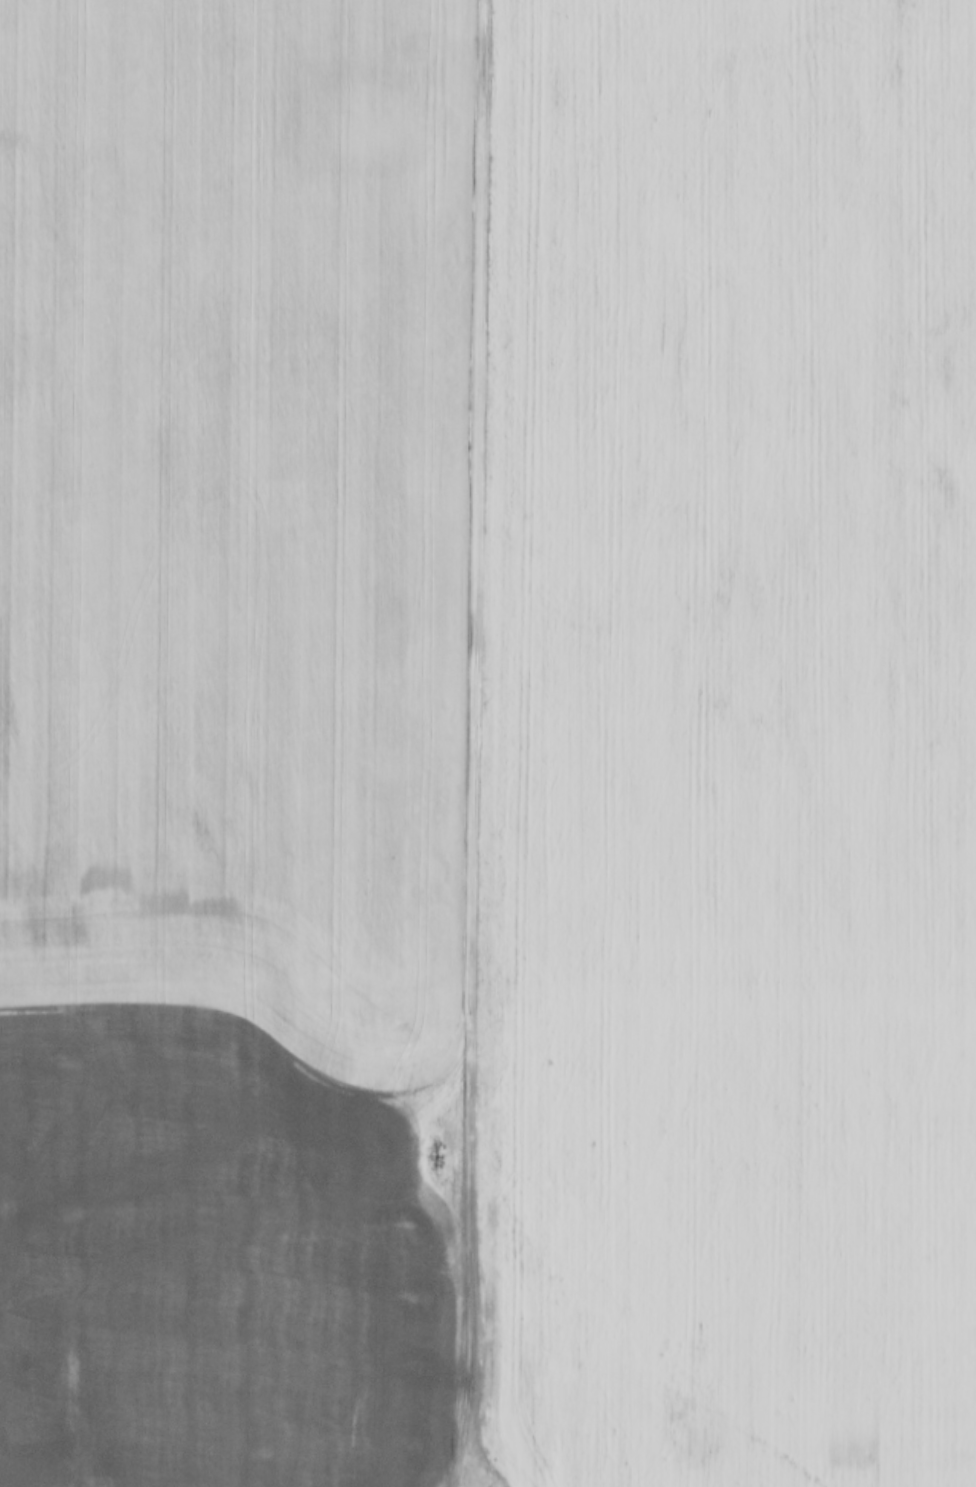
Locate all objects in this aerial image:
road: (473, 743)

